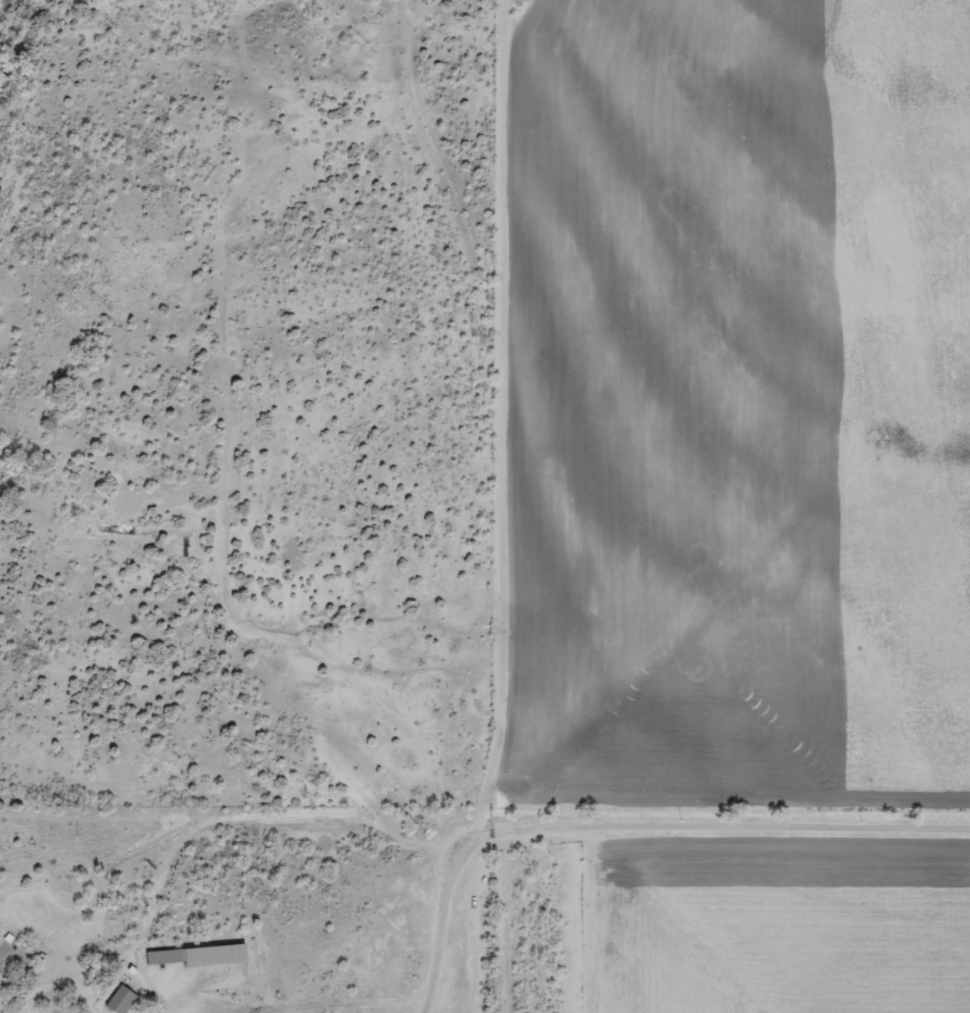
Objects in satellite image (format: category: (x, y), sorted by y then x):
road: (477, 512)
road: (746, 837)
road: (441, 905)
building: (195, 956)
building: (118, 1001)

